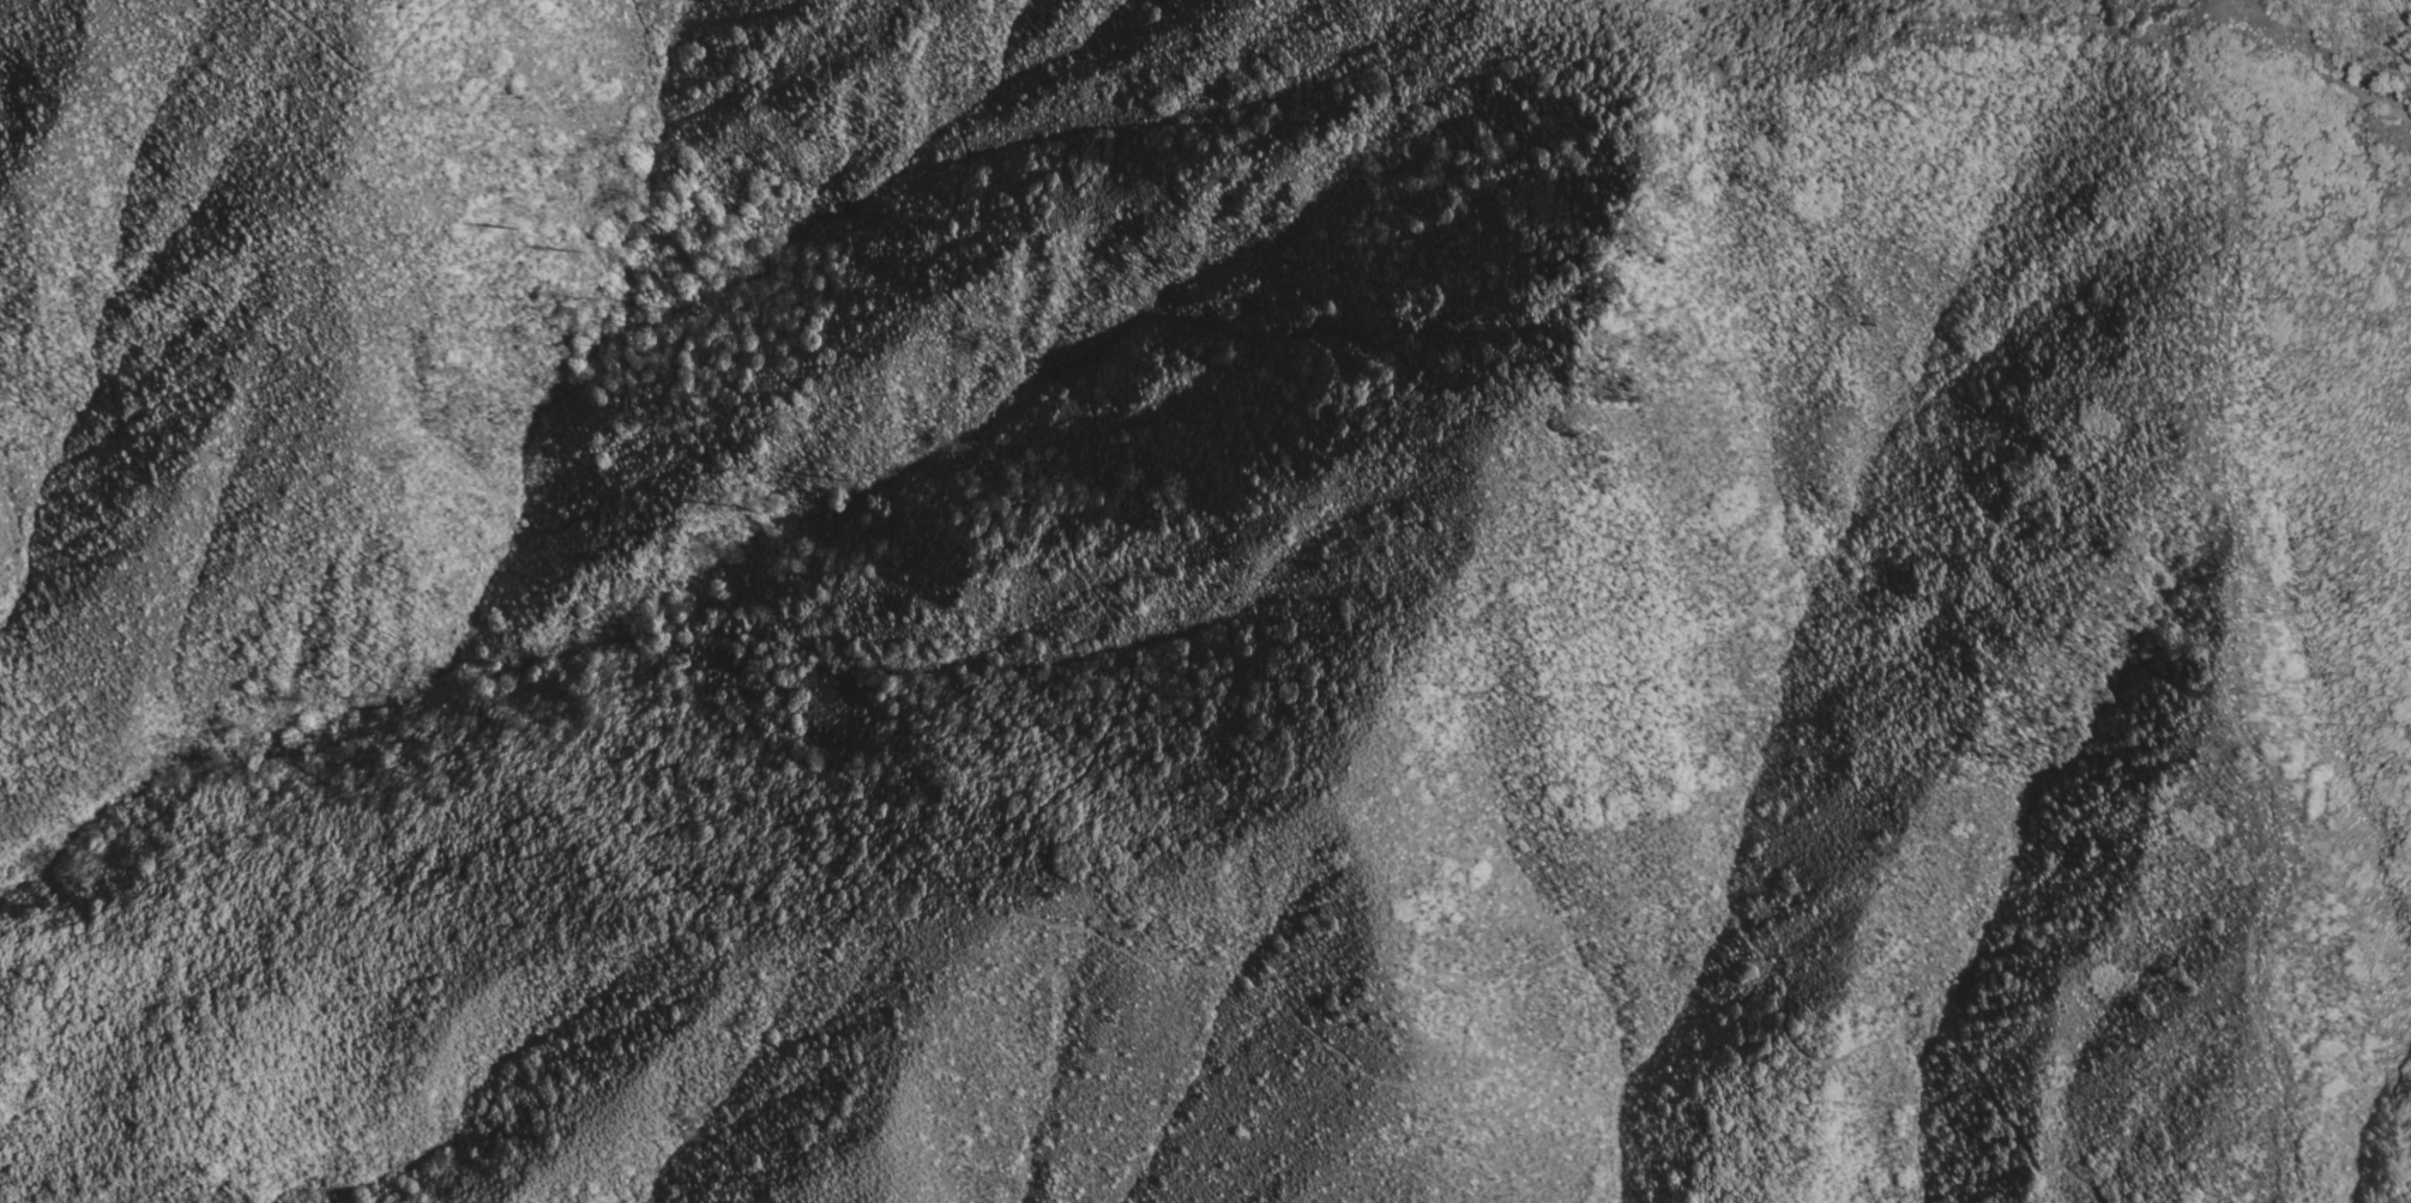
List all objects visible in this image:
road: (364, 62)
road: (1115, 941)

